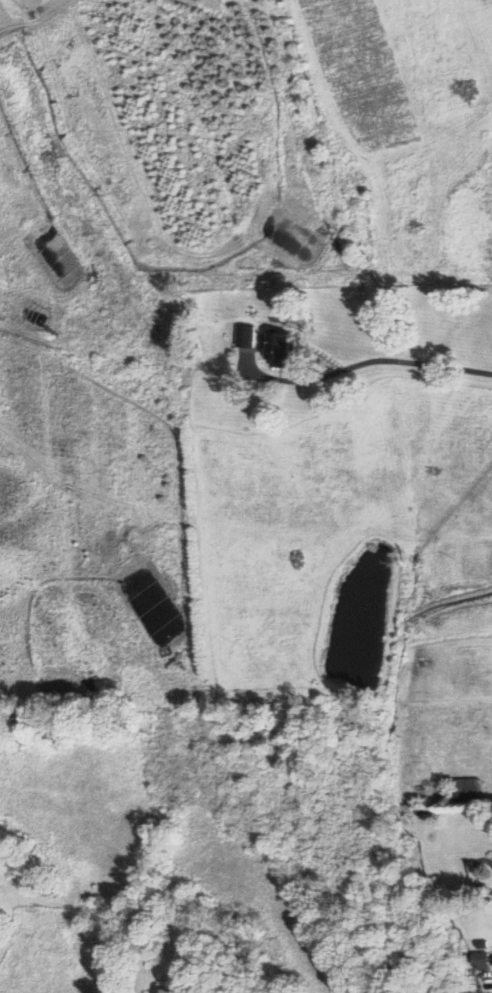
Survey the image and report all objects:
building: (245, 336)
building: (277, 348)
road: (365, 363)
building: (466, 789)
building: (482, 960)
building: (167, 990)

